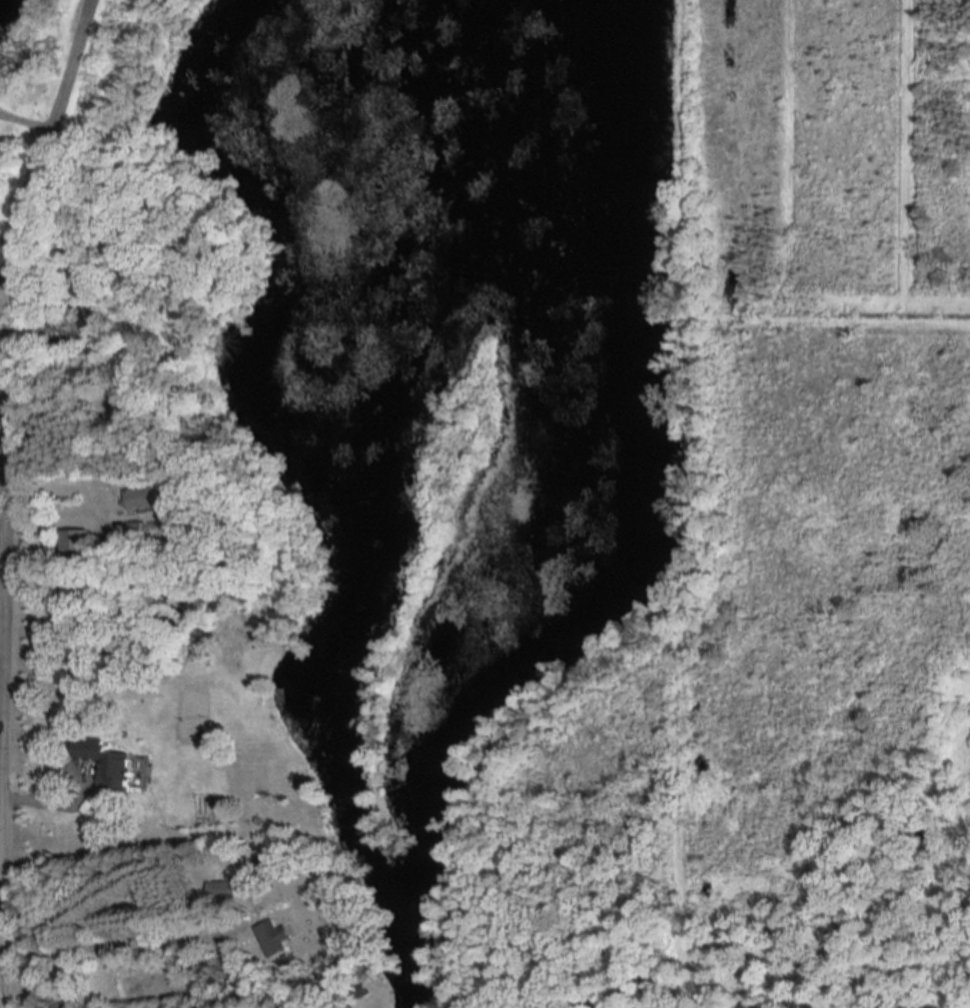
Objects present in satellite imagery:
road: (9, 272)
road: (4, 278)
building: (140, 498)
road: (0, 555)
road: (0, 677)
building: (105, 763)
road: (81, 799)
building: (221, 891)
building: (272, 939)
road: (114, 945)

